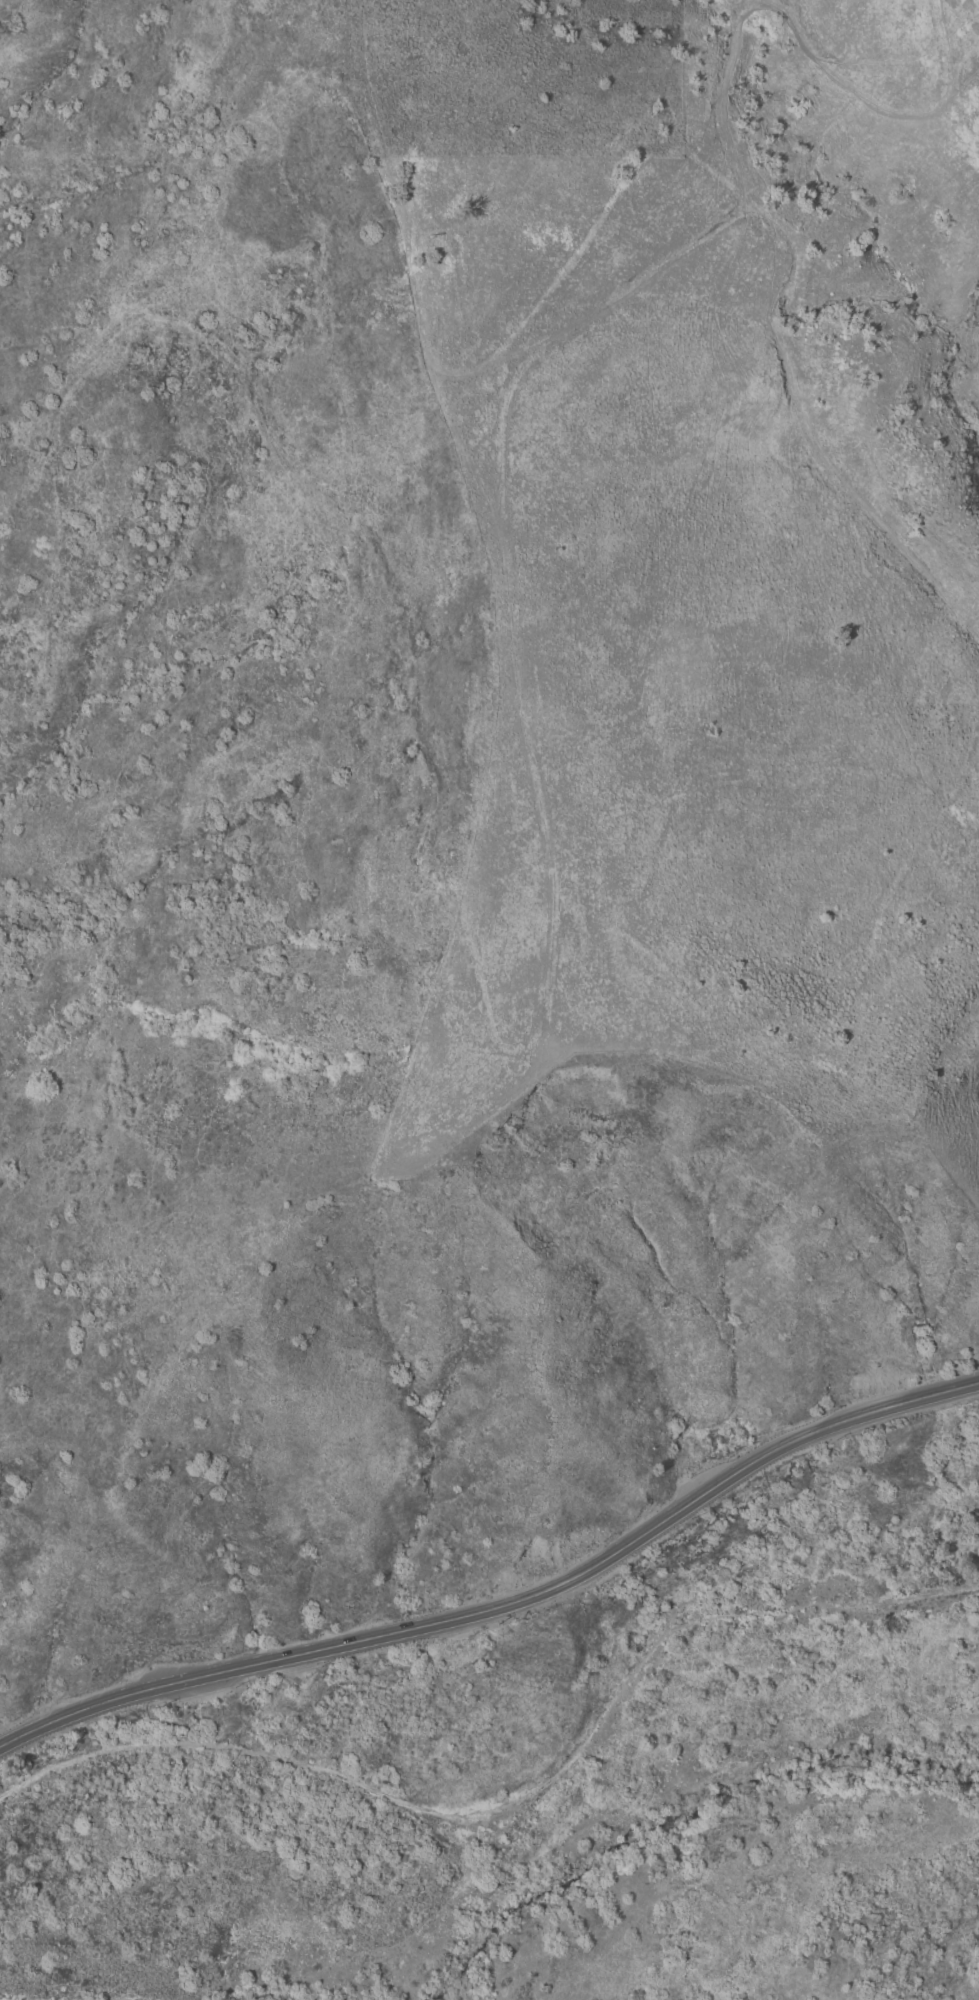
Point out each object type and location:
road: (742, 207)
road: (428, 365)
road: (505, 1608)
road: (519, 1800)

